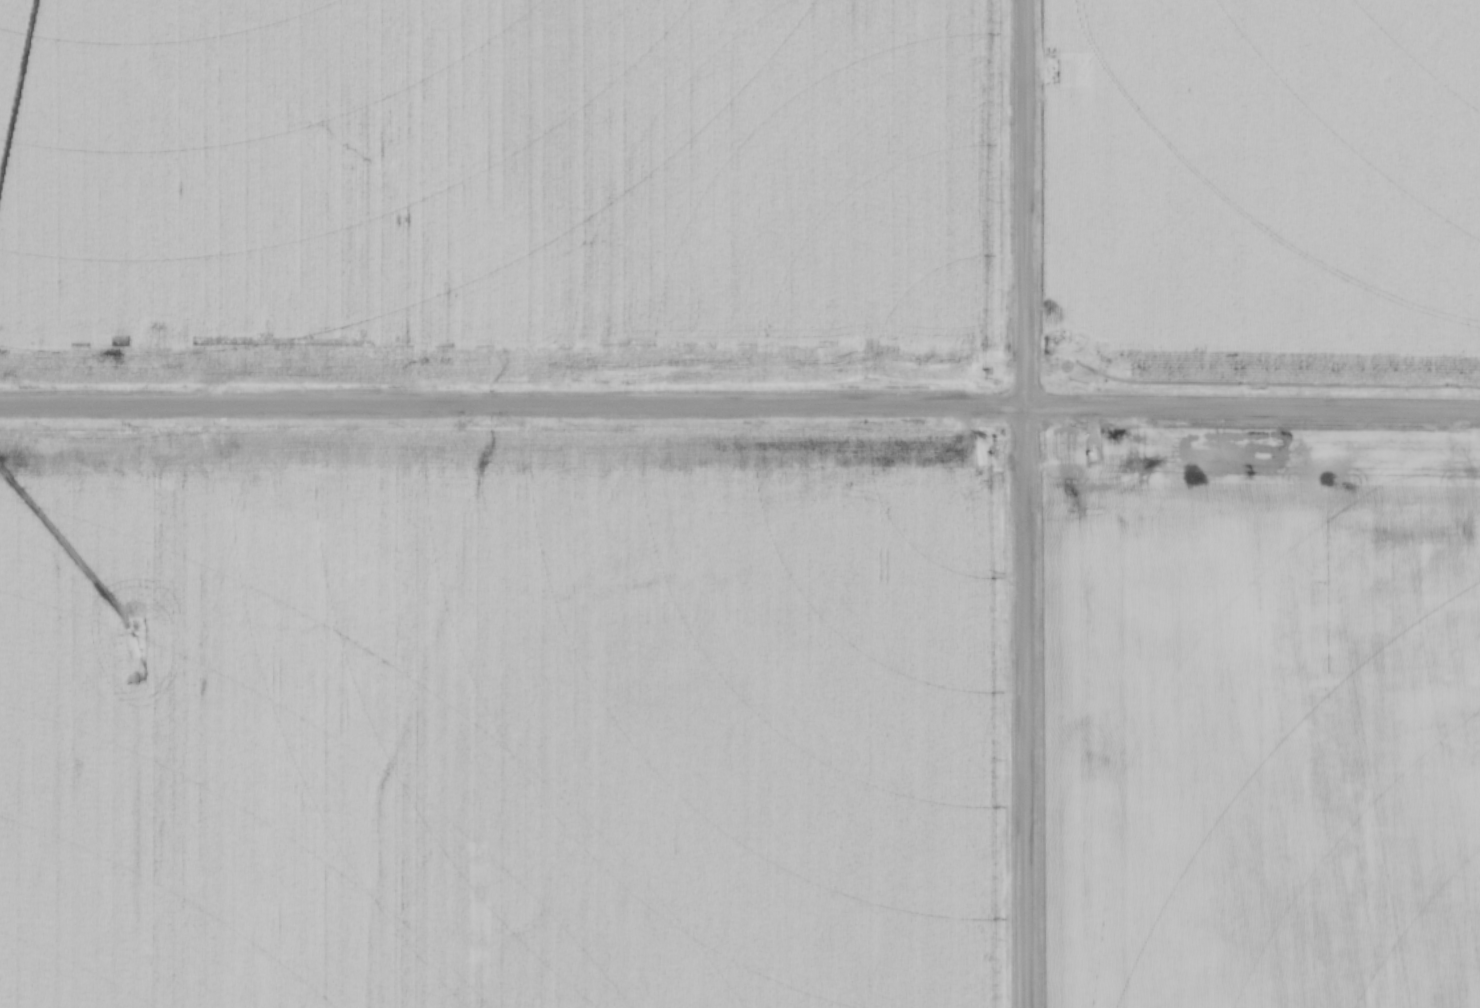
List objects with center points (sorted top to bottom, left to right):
road: (740, 408)
road: (1018, 503)

